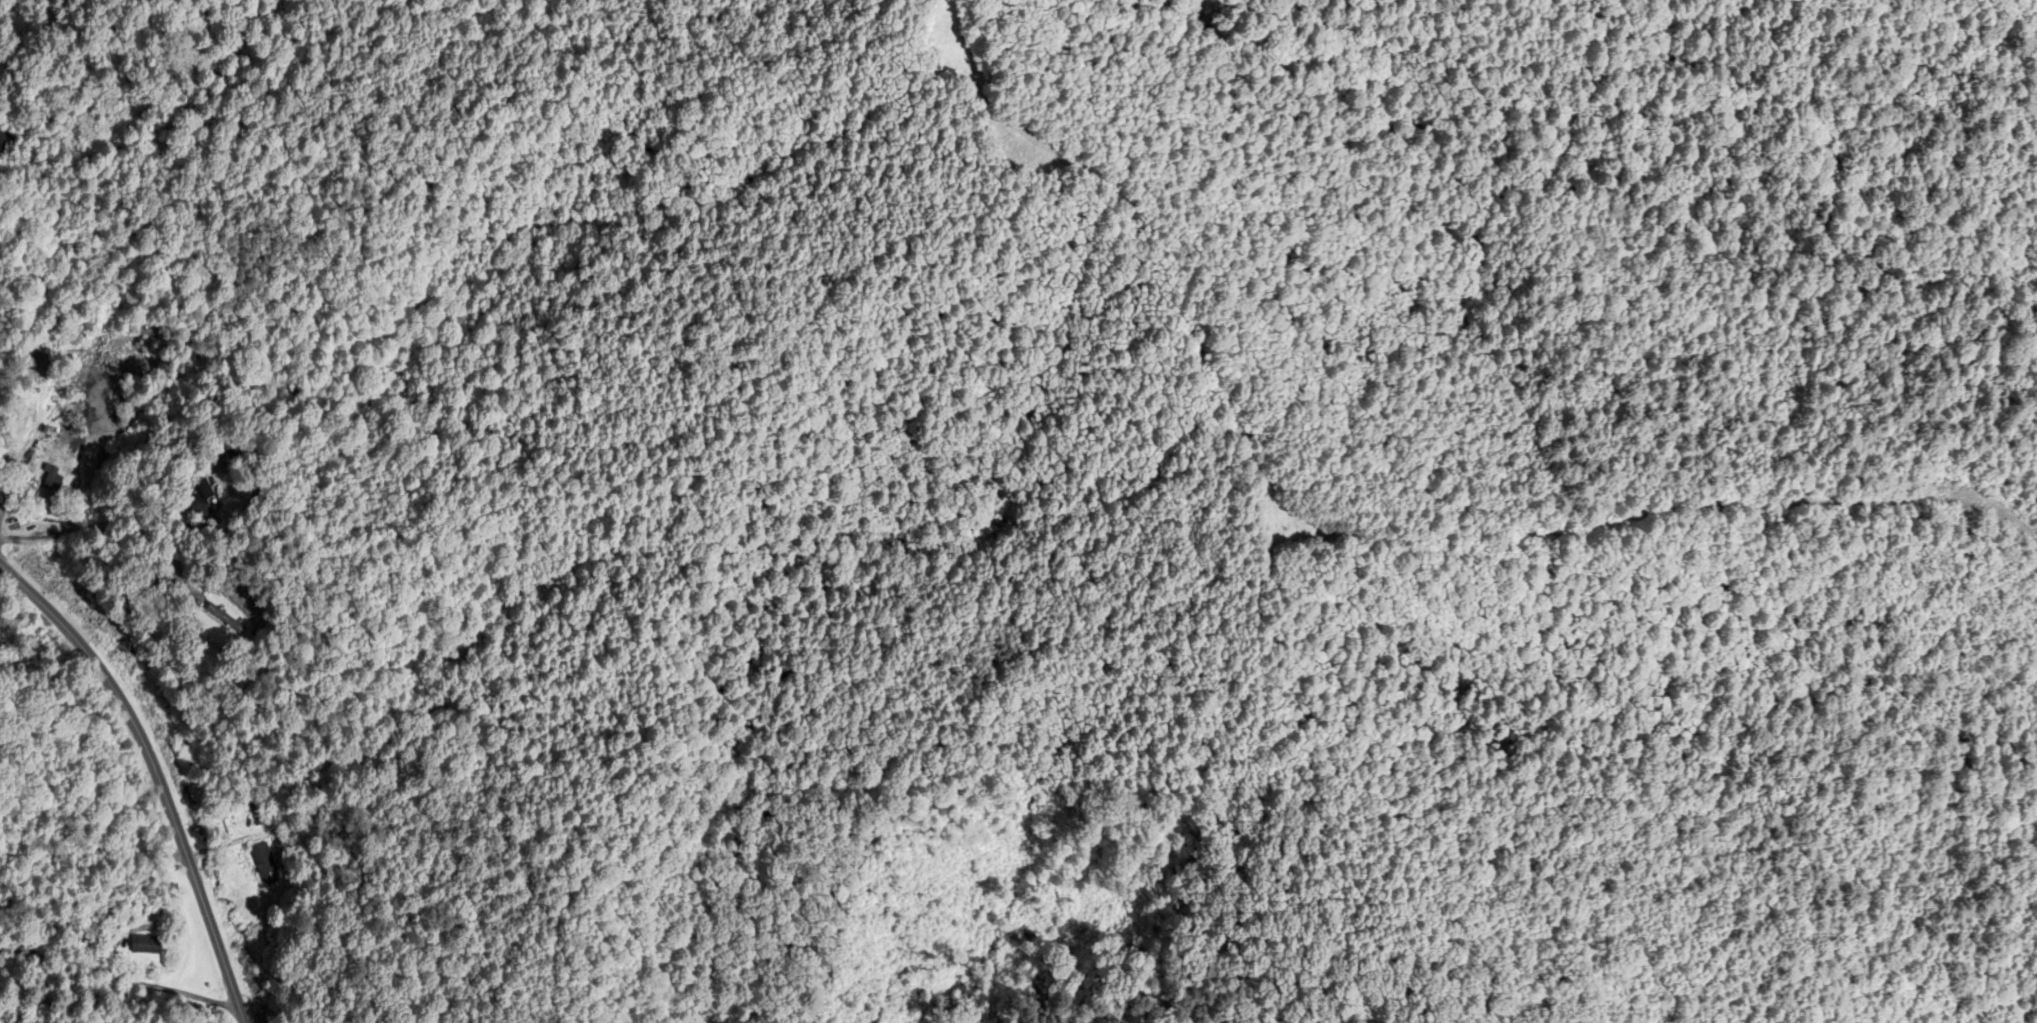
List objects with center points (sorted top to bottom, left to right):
building: (8, 145)
building: (67, 420)
building: (54, 480)
building: (199, 502)
road: (106, 527)
building: (67, 577)
building: (227, 619)
road: (157, 773)
building: (258, 813)
building: (266, 866)
building: (148, 946)
road: (122, 983)

